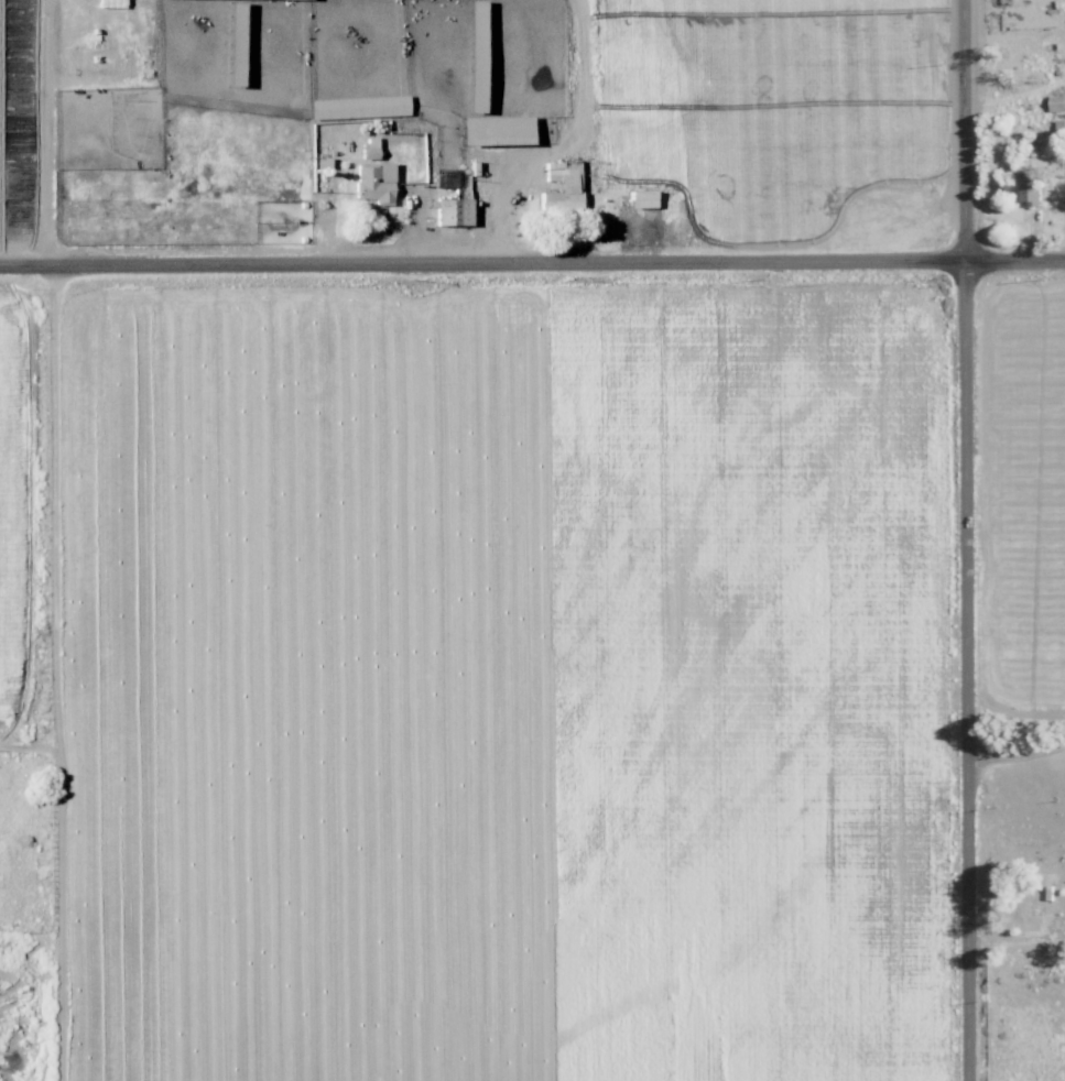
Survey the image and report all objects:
building: (1059, 127)
crop: (18, 130)
crop: (790, 135)
building: (368, 184)
building: (1028, 187)
building: (557, 189)
building: (638, 198)
building: (448, 211)
road: (532, 261)
road: (967, 539)
road: (1017, 750)

